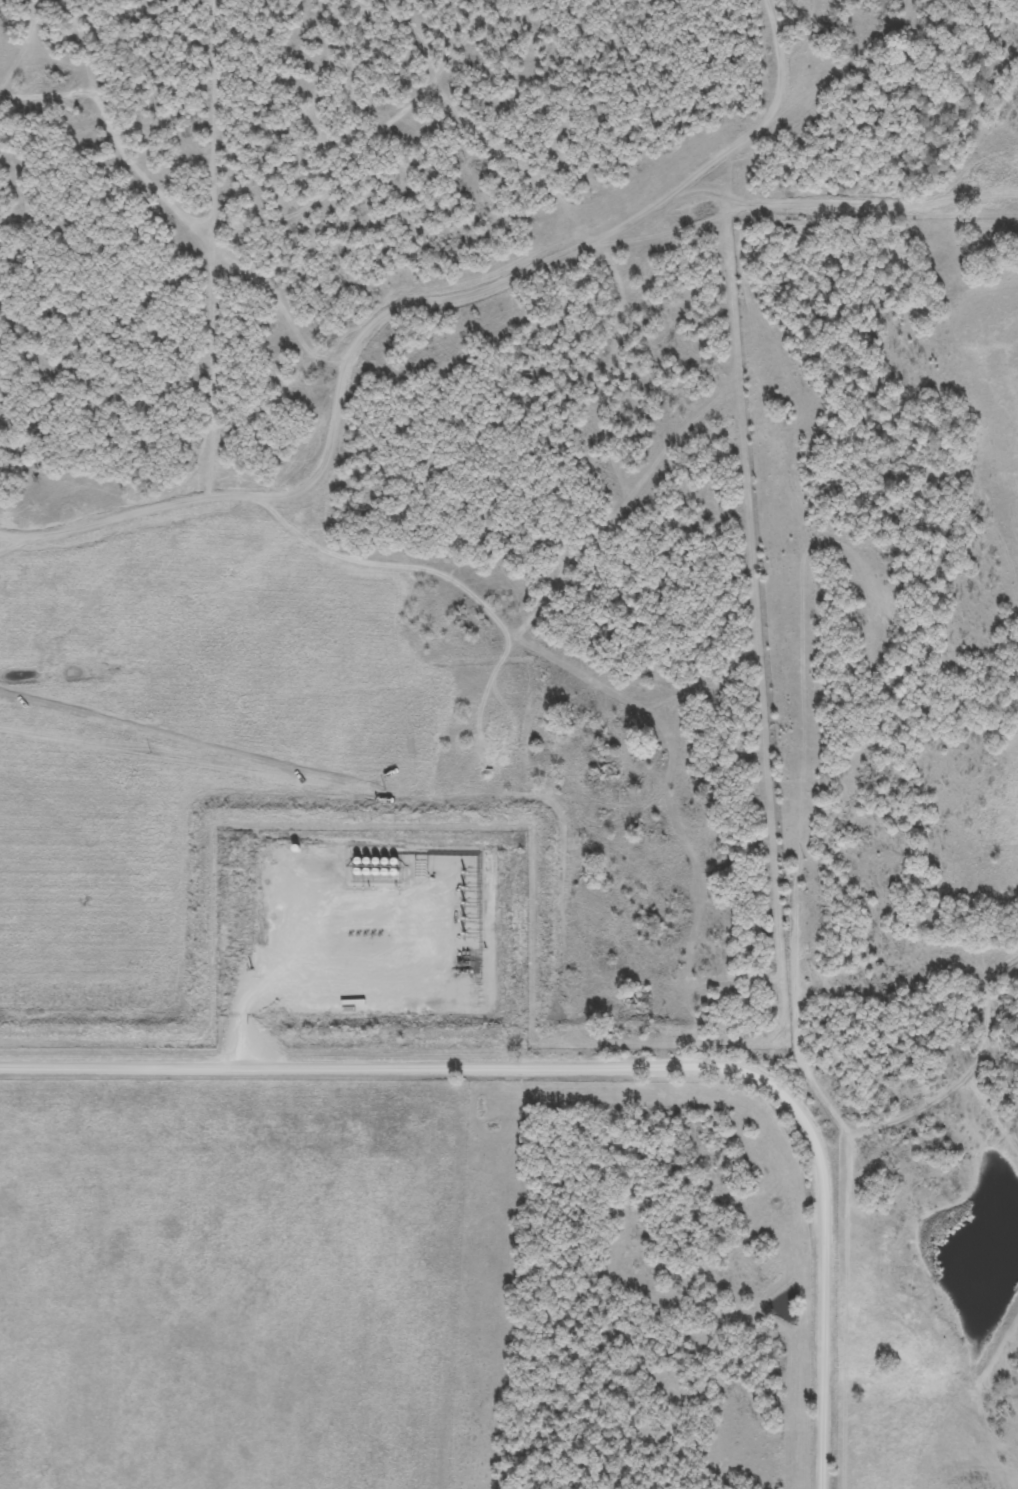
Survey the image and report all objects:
road: (400, 312)
road: (8, 540)
road: (598, 1084)

